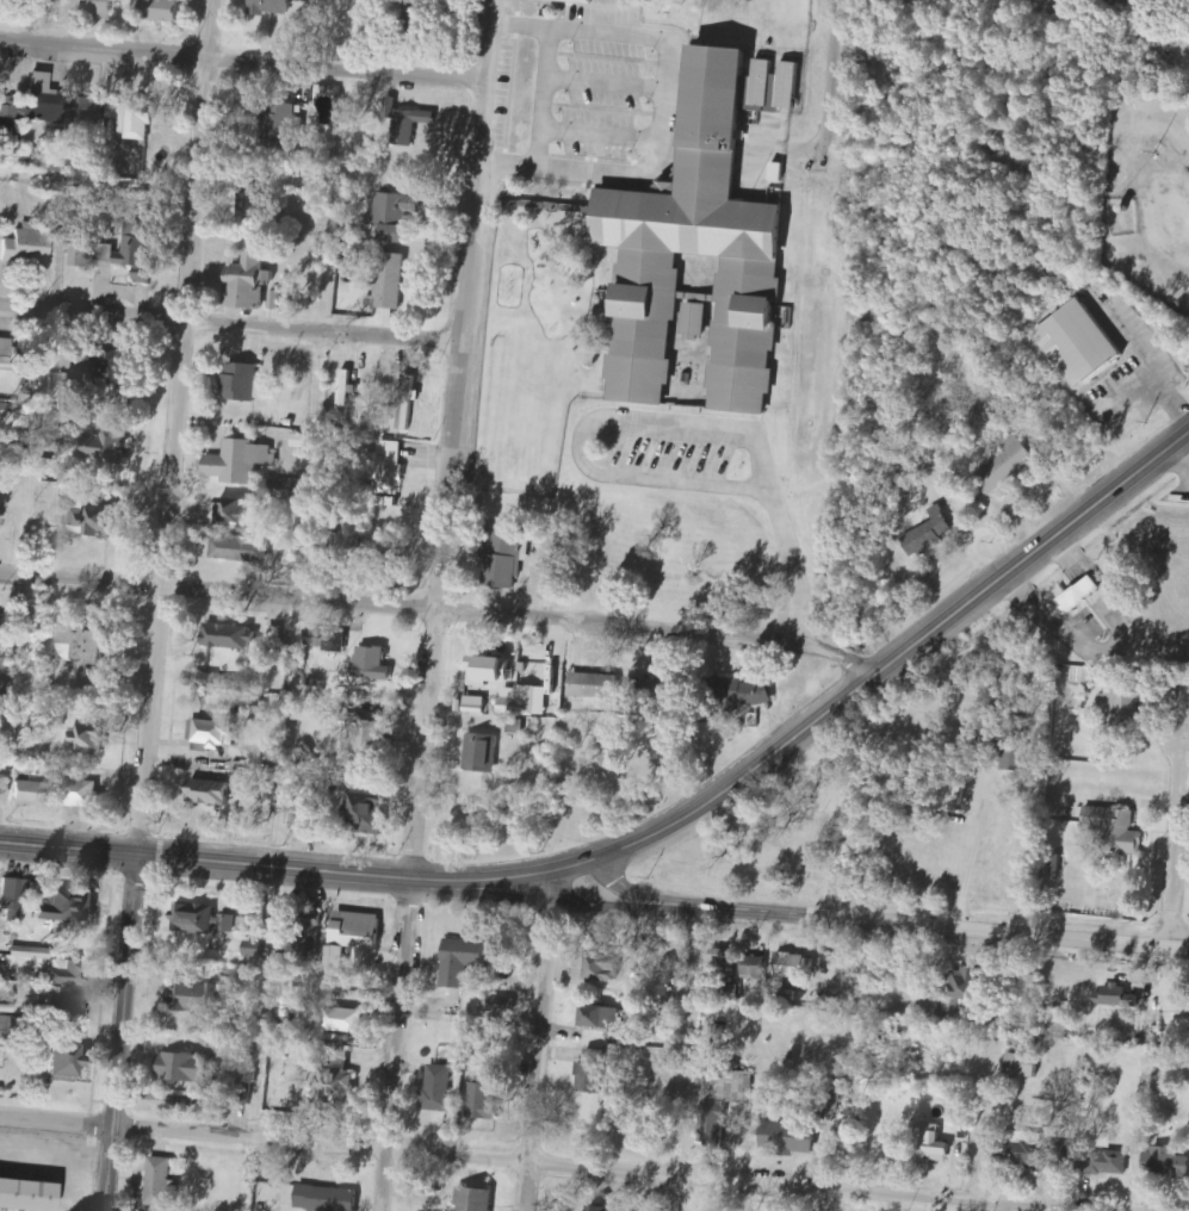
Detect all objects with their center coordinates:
building: (575, 1)
building: (330, 2)
building: (423, 5)
building: (267, 7)
building: (99, 8)
building: (154, 11)
road: (246, 66)
building: (768, 87)
building: (44, 101)
building: (86, 113)
building: (8, 116)
building: (132, 118)
building: (405, 123)
building: (279, 128)
building: (420, 135)
building: (56, 162)
building: (236, 174)
building: (247, 207)
building: (395, 216)
building: (137, 246)
building: (29, 247)
building: (82, 250)
building: (702, 250)
building: (110, 254)
building: (145, 275)
building: (388, 282)
building: (250, 284)
building: (692, 317)
road: (231, 331)
building: (1075, 344)
building: (6, 350)
building: (119, 378)
building: (243, 385)
building: (348, 385)
building: (407, 402)
building: (21, 420)
road: (171, 429)
building: (299, 441)
building: (54, 442)
building: (104, 448)
building: (240, 461)
building: (1003, 466)
building: (389, 467)
building: (290, 491)
building: (239, 511)
building: (101, 520)
building: (925, 535)
building: (240, 548)
building: (389, 555)
building: (318, 559)
building: (504, 559)
building: (551, 583)
building: (1076, 596)
road: (434, 604)
road: (438, 613)
building: (275, 635)
building: (231, 638)
building: (0, 641)
building: (322, 641)
building: (87, 642)
road: (887, 662)
building: (376, 665)
building: (495, 669)
building: (210, 679)
building: (599, 687)
building: (661, 689)
building: (748, 693)
building: (528, 702)
building: (478, 706)
building: (57, 718)
building: (518, 727)
building: (217, 729)
building: (373, 738)
building: (89, 740)
building: (1014, 743)
building: (483, 753)
building: (346, 782)
building: (30, 794)
building: (82, 794)
building: (960, 794)
building: (212, 795)
building: (371, 812)
building: (303, 820)
building: (1116, 830)
road: (1175, 843)
road: (281, 870)
building: (1139, 877)
building: (16, 898)
building: (73, 907)
building: (205, 920)
road: (872, 925)
building: (248, 926)
building: (357, 938)
building: (256, 950)
building: (33, 952)
building: (467, 961)
building: (284, 963)
building: (723, 963)
building: (755, 967)
building: (795, 968)
building: (607, 969)
building: (73, 973)
building: (966, 987)
building: (7, 995)
building: (1114, 996)
building: (200, 998)
building: (930, 1005)
building: (503, 1006)
building: (63, 1008)
building: (603, 1018)
building: (347, 1021)
building: (4, 1027)
road: (114, 1035)
road: (543, 1041)
road: (685, 1060)
building: (69, 1061)
building: (1020, 1066)
building: (187, 1068)
building: (594, 1073)
building: (341, 1088)
building: (440, 1088)
building: (724, 1100)
building: (834, 1100)
building: (484, 1103)
road: (984, 1135)
building: (786, 1137)
building: (929, 1145)
building: (1023, 1156)
building: (1168, 1163)
building: (1101, 1165)
road: (528, 1167)
building: (161, 1182)
building: (27, 1194)
building: (327, 1199)
building: (472, 1199)
road: (977, 1206)
building: (597, 1209)

